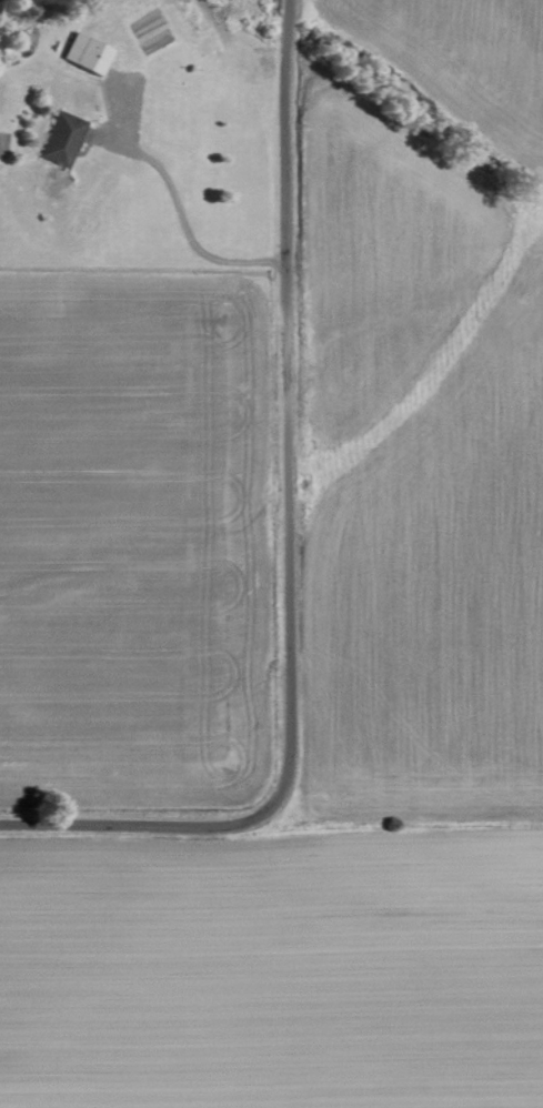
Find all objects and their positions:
building: (88, 54)
building: (64, 140)
road: (180, 215)
road: (288, 430)
road: (117, 830)

